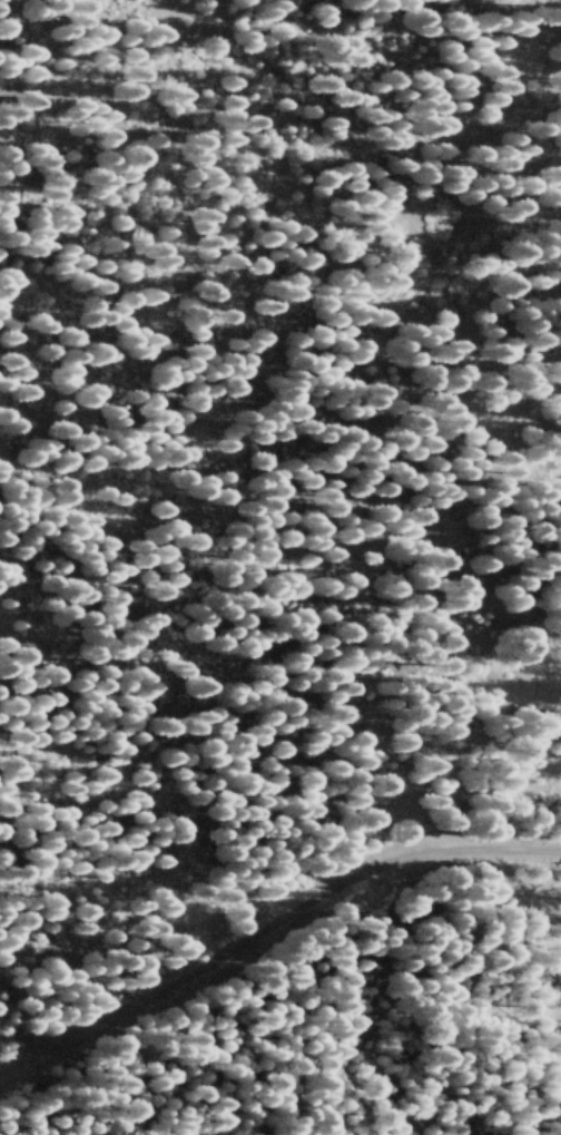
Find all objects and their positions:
road: (263, 908)

